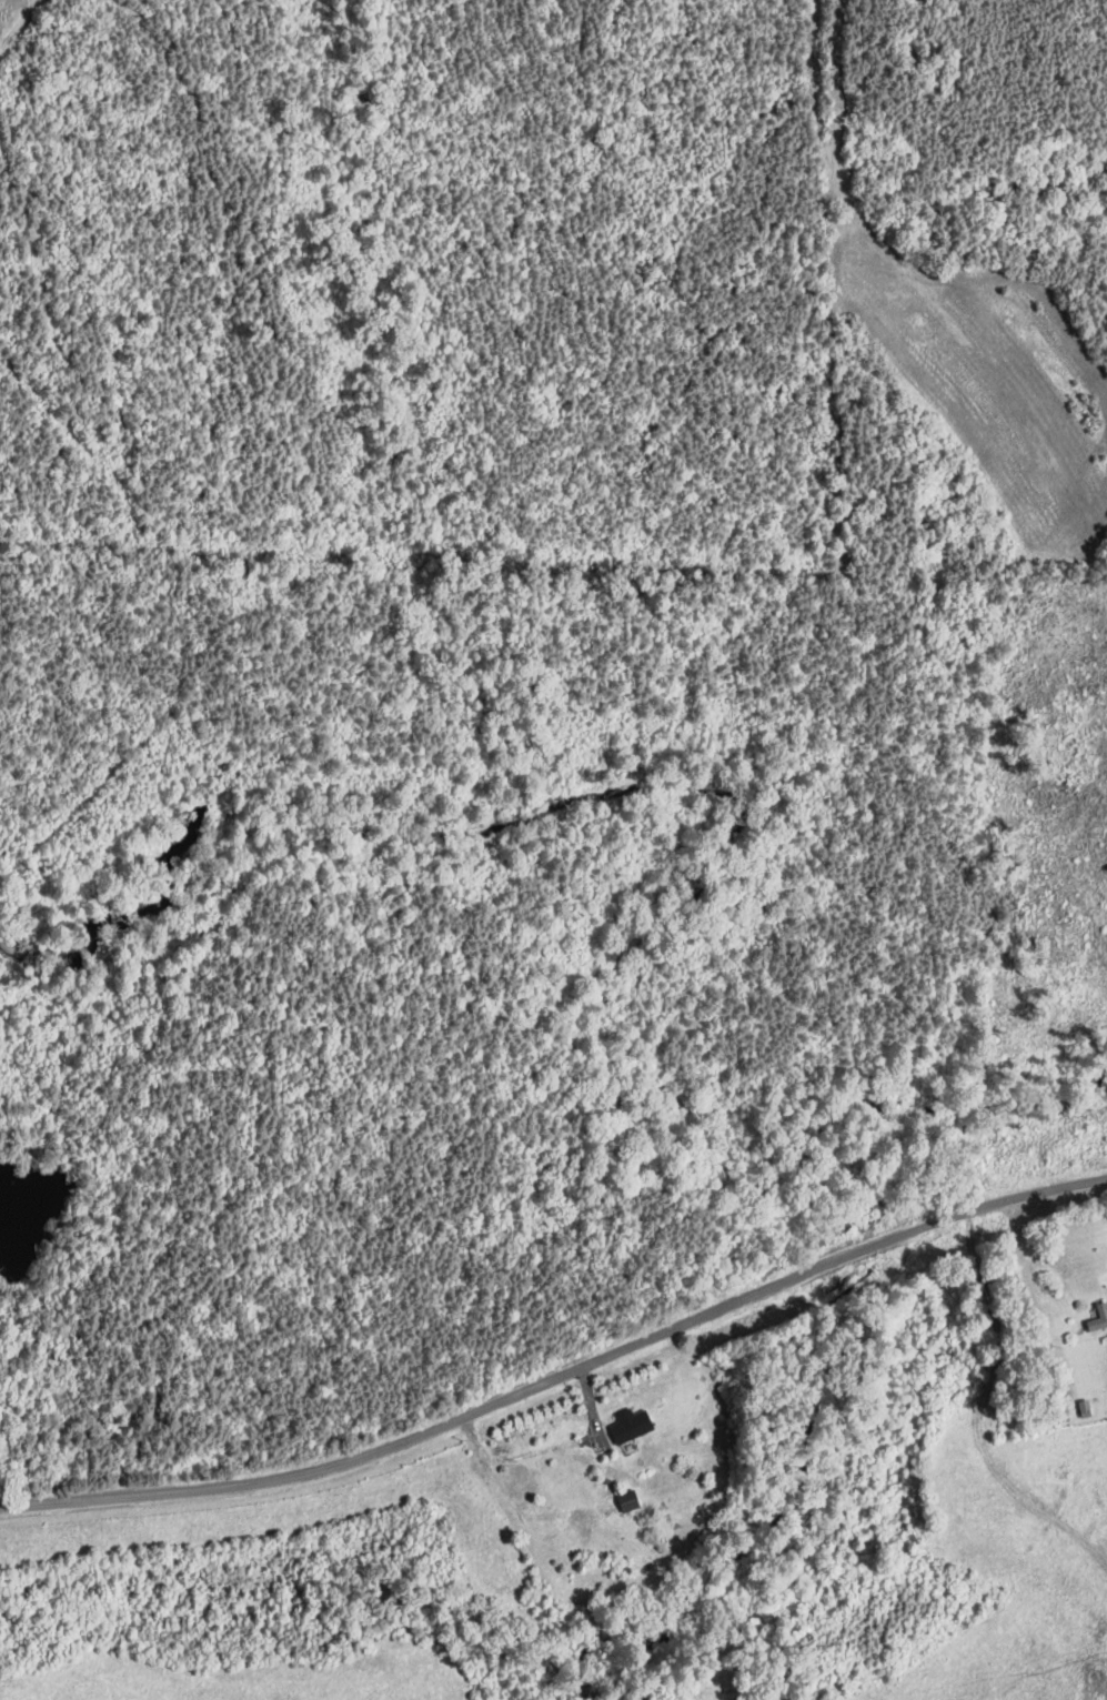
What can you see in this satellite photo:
building: (1097, 1315)
road: (561, 1375)
building: (635, 1424)
road: (552, 1446)
building: (519, 1476)
building: (631, 1499)

